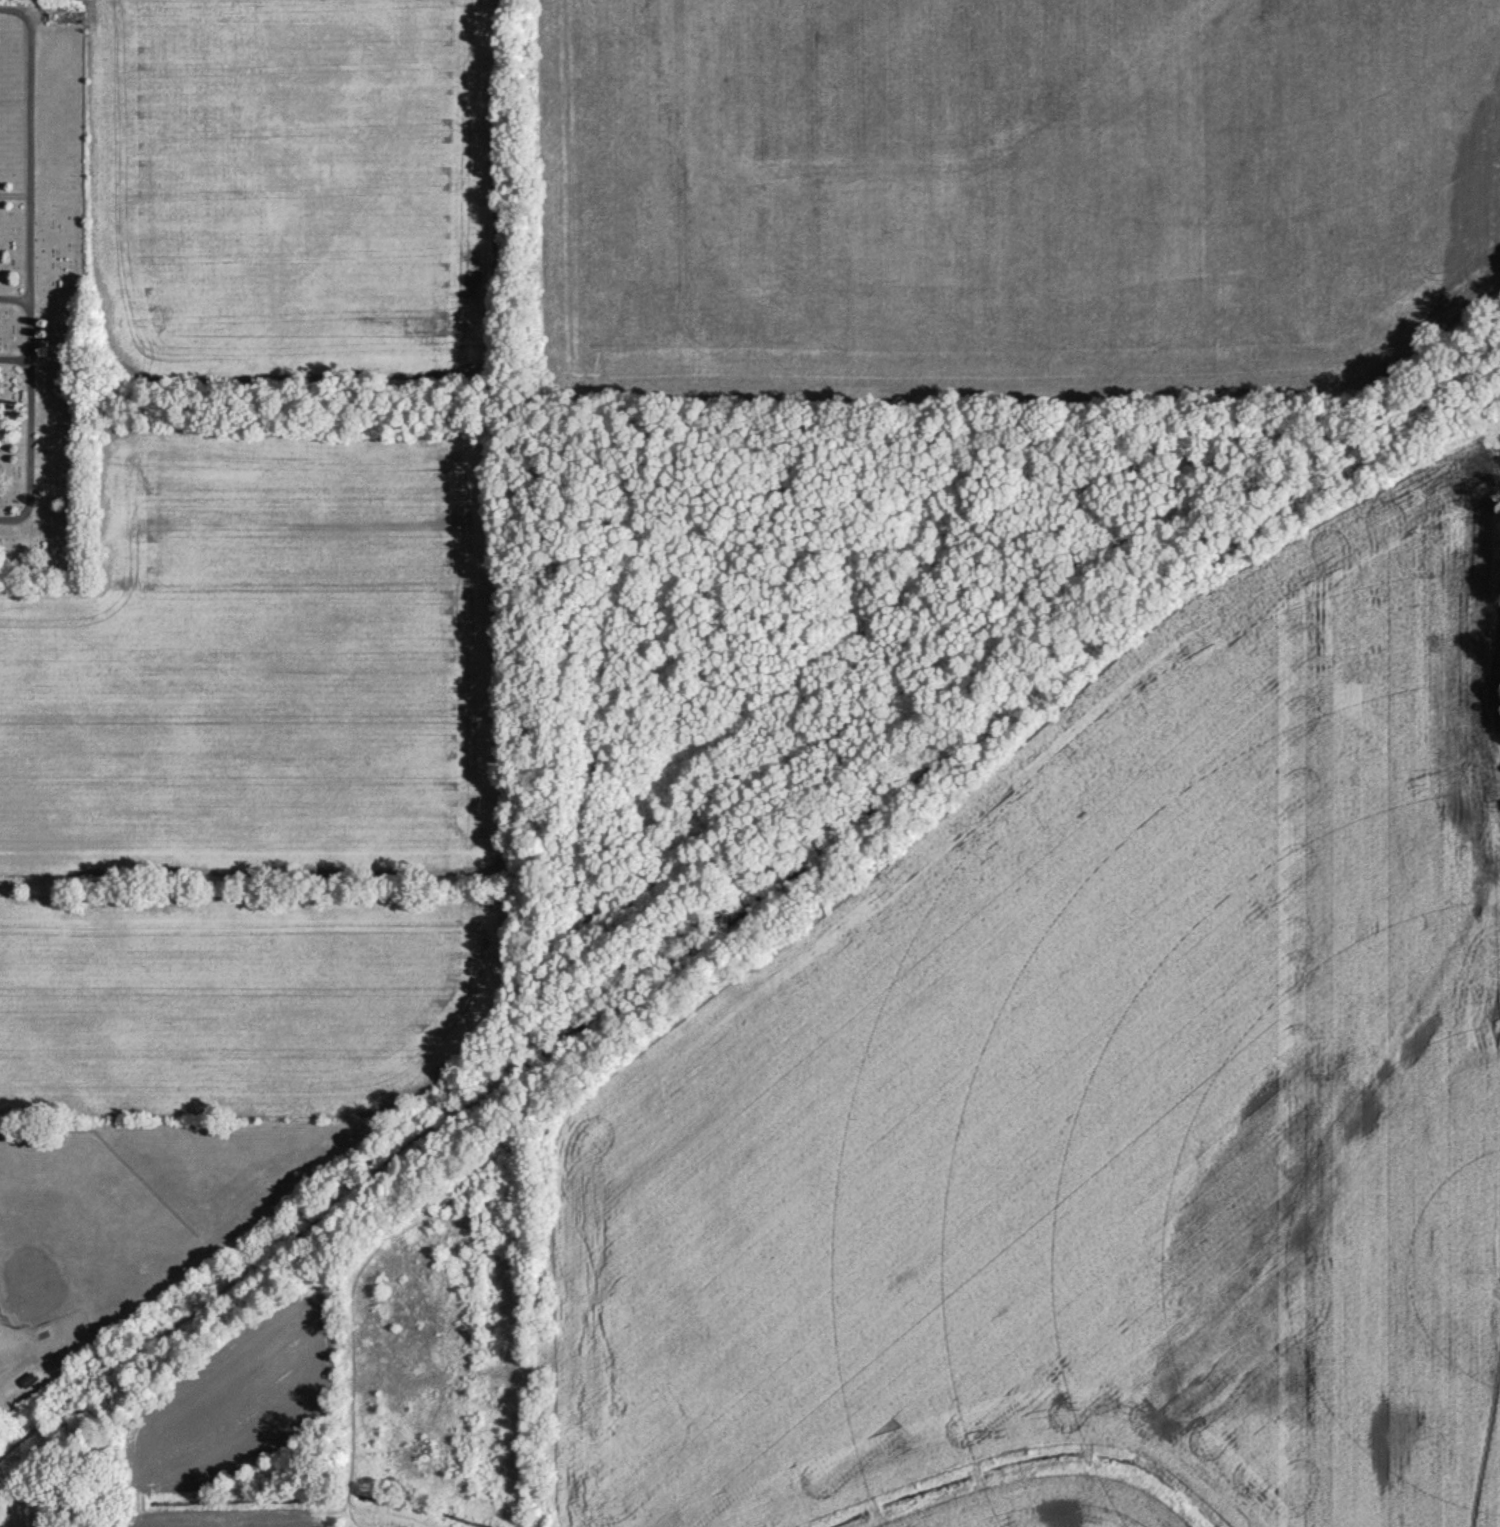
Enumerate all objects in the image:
road: (25, 272)
park: (42, 292)
road: (12, 301)
road: (13, 358)

